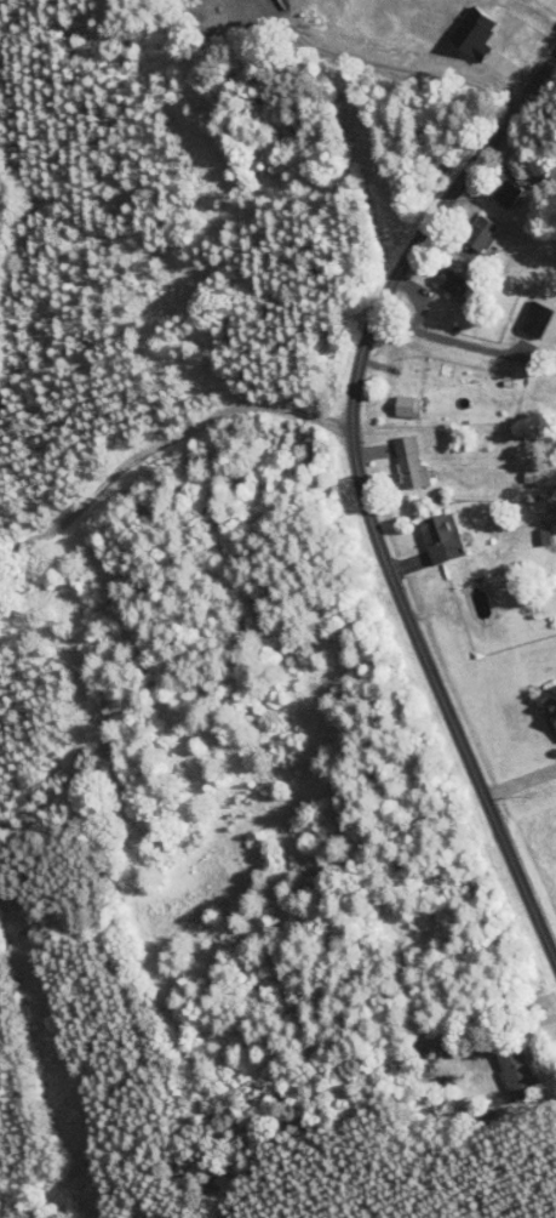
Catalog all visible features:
road: (539, 12)
road: (471, 97)
road: (488, 186)
building: (505, 192)
road: (460, 221)
building: (480, 232)
road: (428, 272)
road: (384, 393)
building: (406, 405)
building: (408, 462)
road: (384, 463)
building: (534, 476)
road: (362, 496)
road: (458, 501)
building: (440, 537)
road: (414, 560)
building: (549, 699)
road: (508, 729)
road: (520, 781)
road: (531, 1038)
building: (511, 1066)

